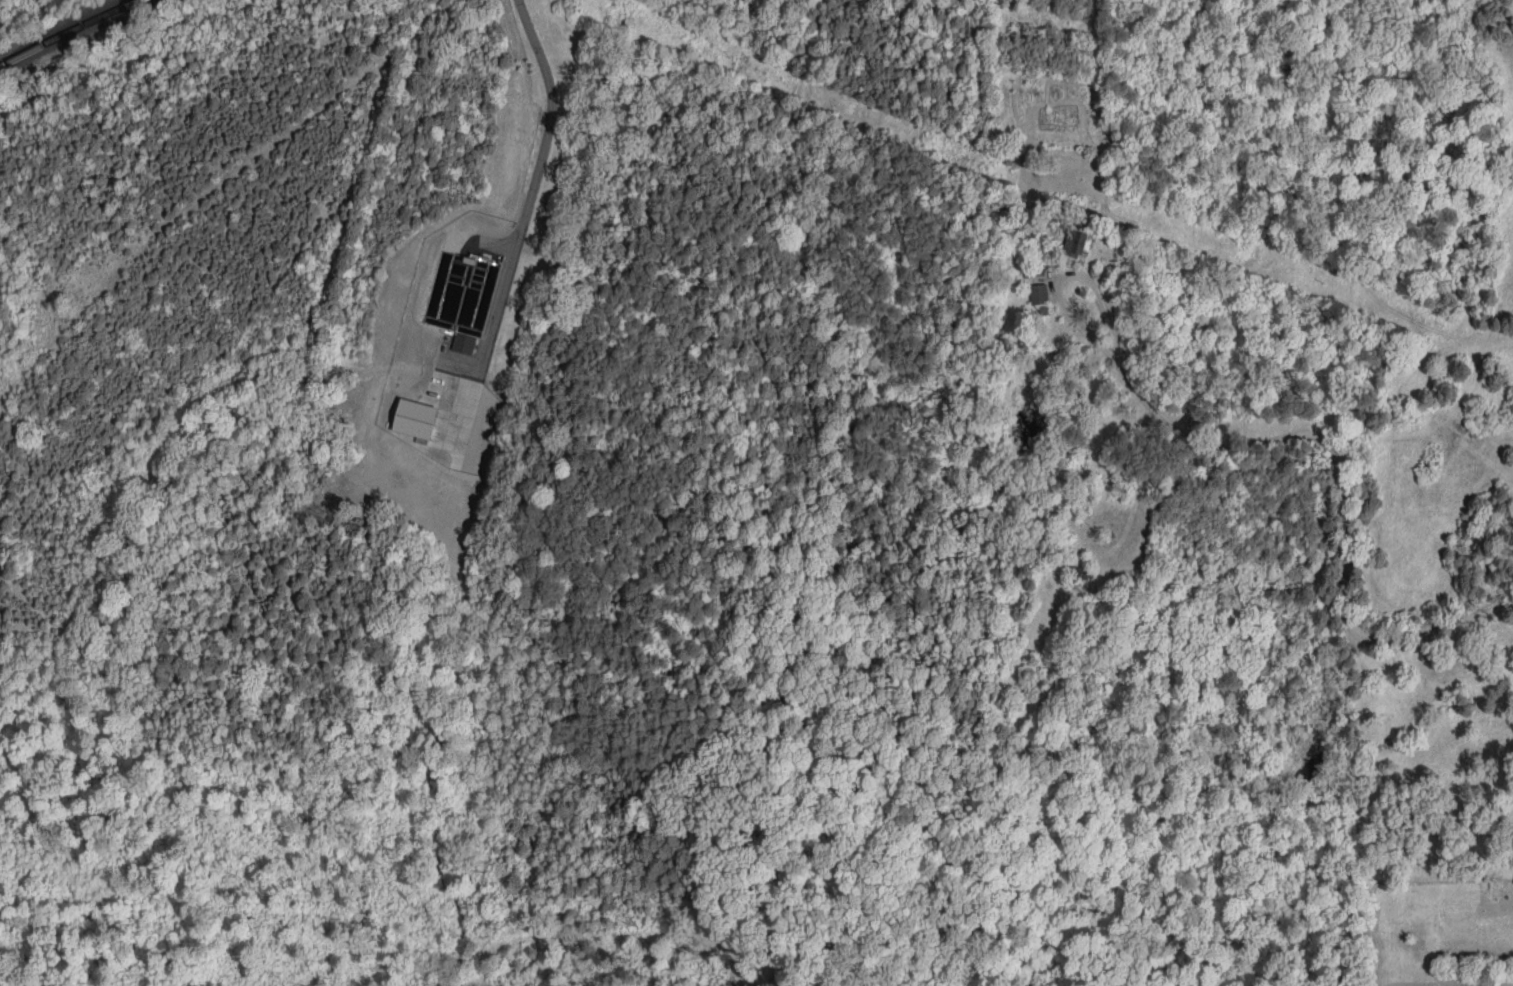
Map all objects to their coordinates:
railway: (69, 29)
road: (549, 123)
building: (1075, 239)
road: (1063, 276)
building: (1038, 293)
building: (464, 342)
building: (415, 418)
road: (1342, 494)

